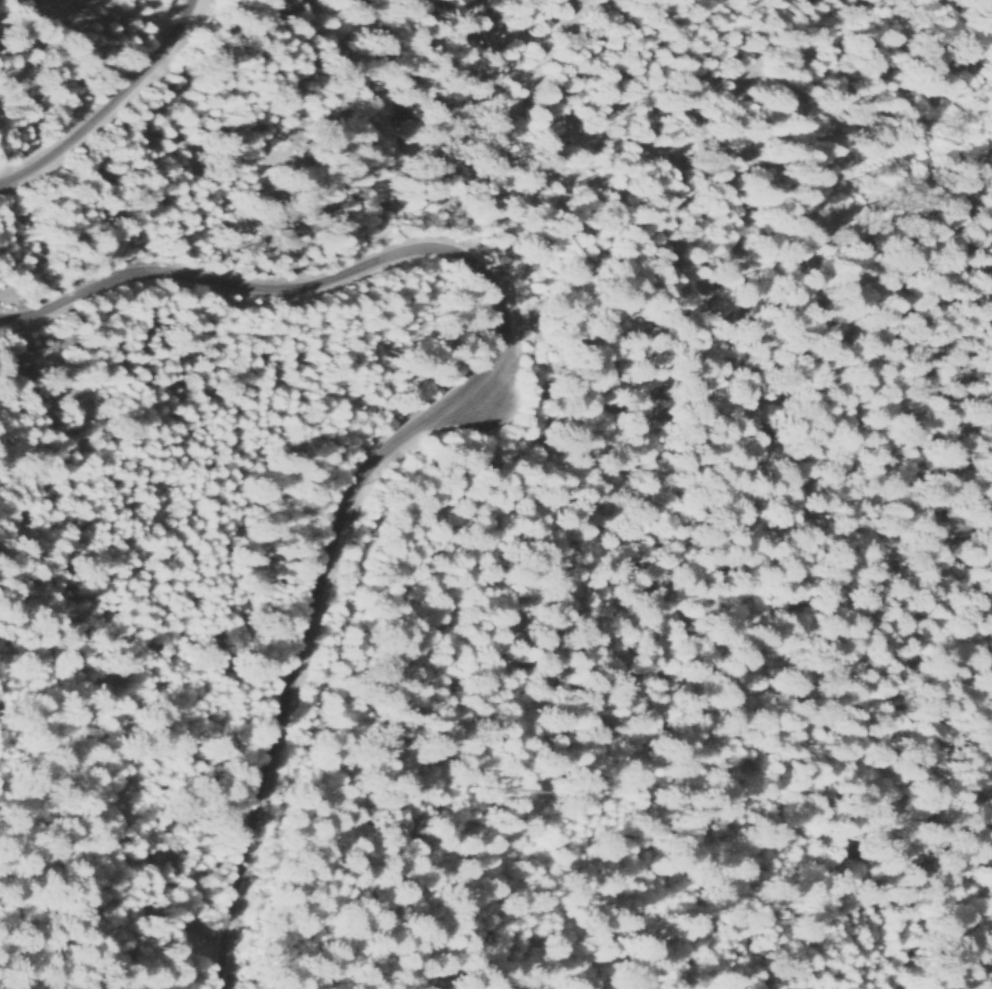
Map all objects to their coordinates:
road: (99, 89)
road: (459, 393)

